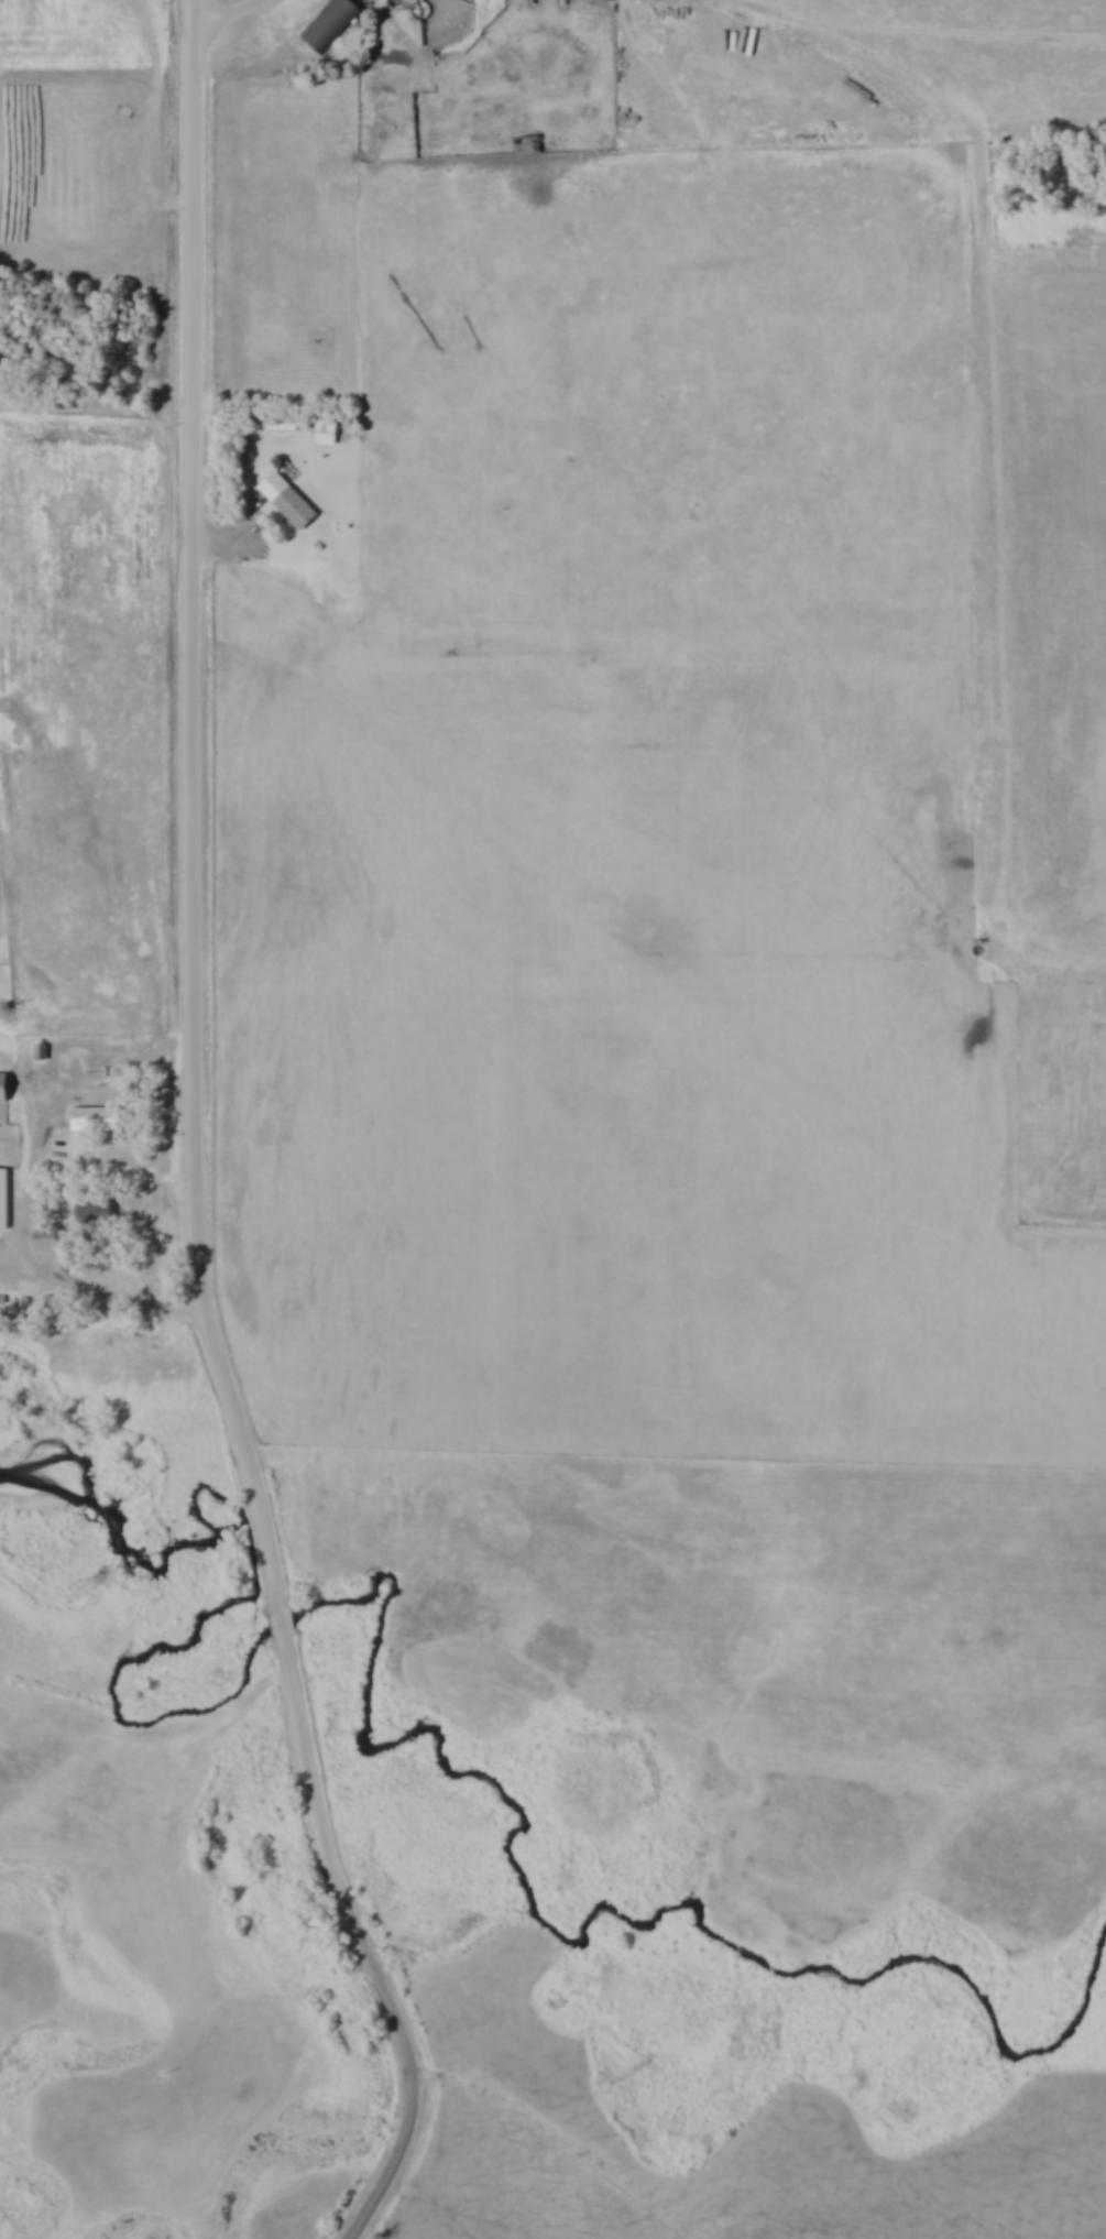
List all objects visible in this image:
building: (406, 0)
road: (230, 11)
building: (332, 25)
building: (529, 146)
building: (291, 503)
road: (194, 961)
building: (4, 1088)
building: (97, 1118)
building: (4, 1200)
road: (29, 1205)
building: (96, 1213)
building: (47, 1239)
building: (56, 1303)
road: (413, 2074)

